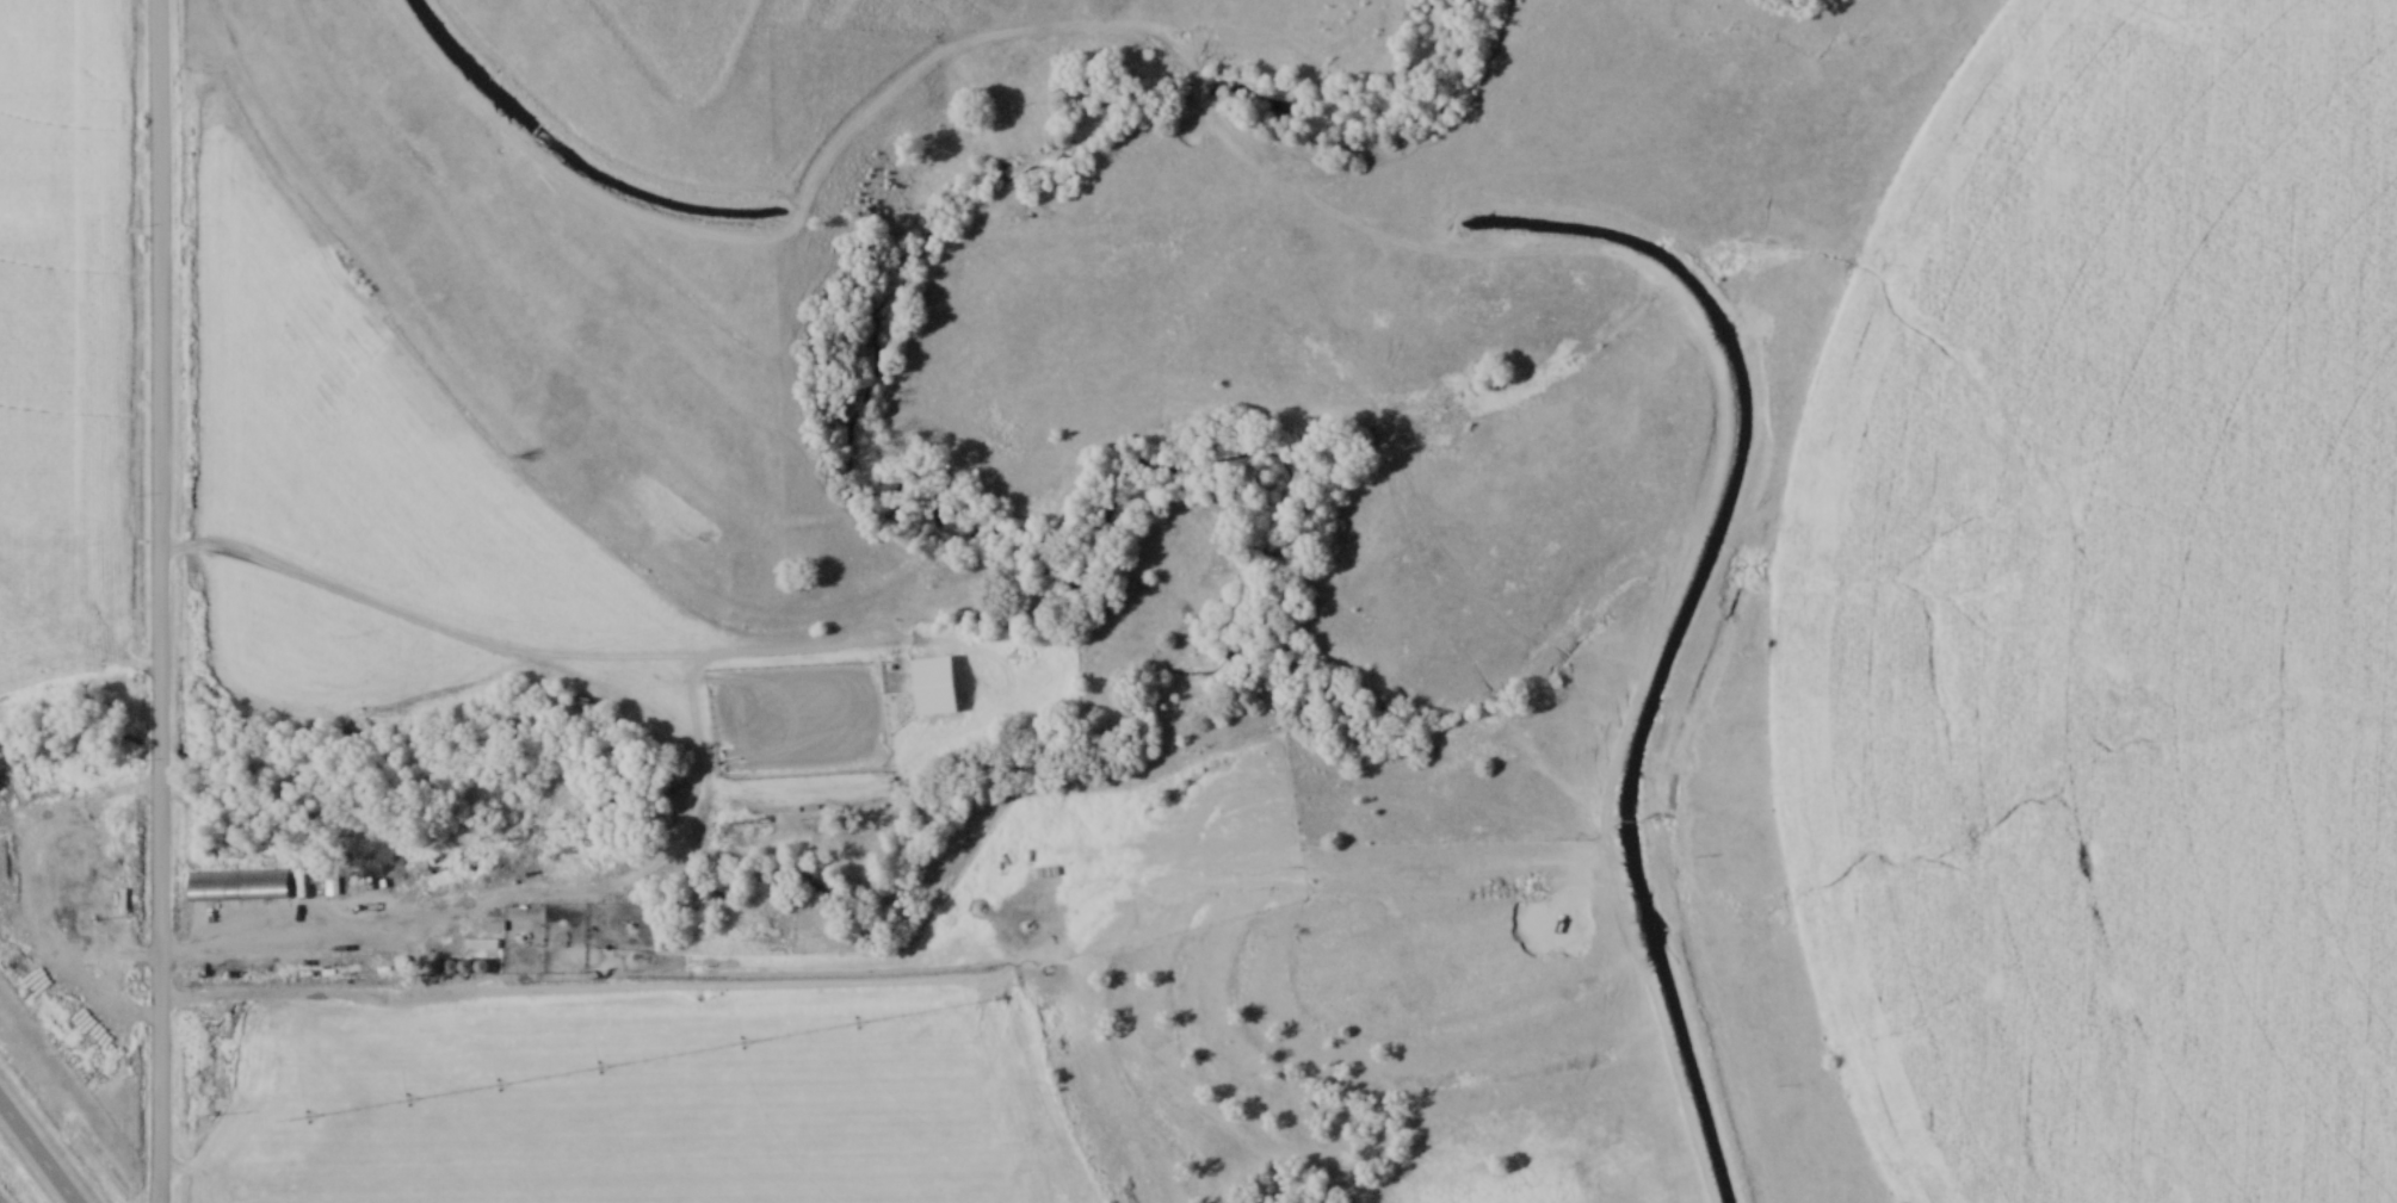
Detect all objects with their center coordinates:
road: (154, 601)
building: (334, 878)
building: (478, 968)
road: (338, 996)
road: (38, 1151)

